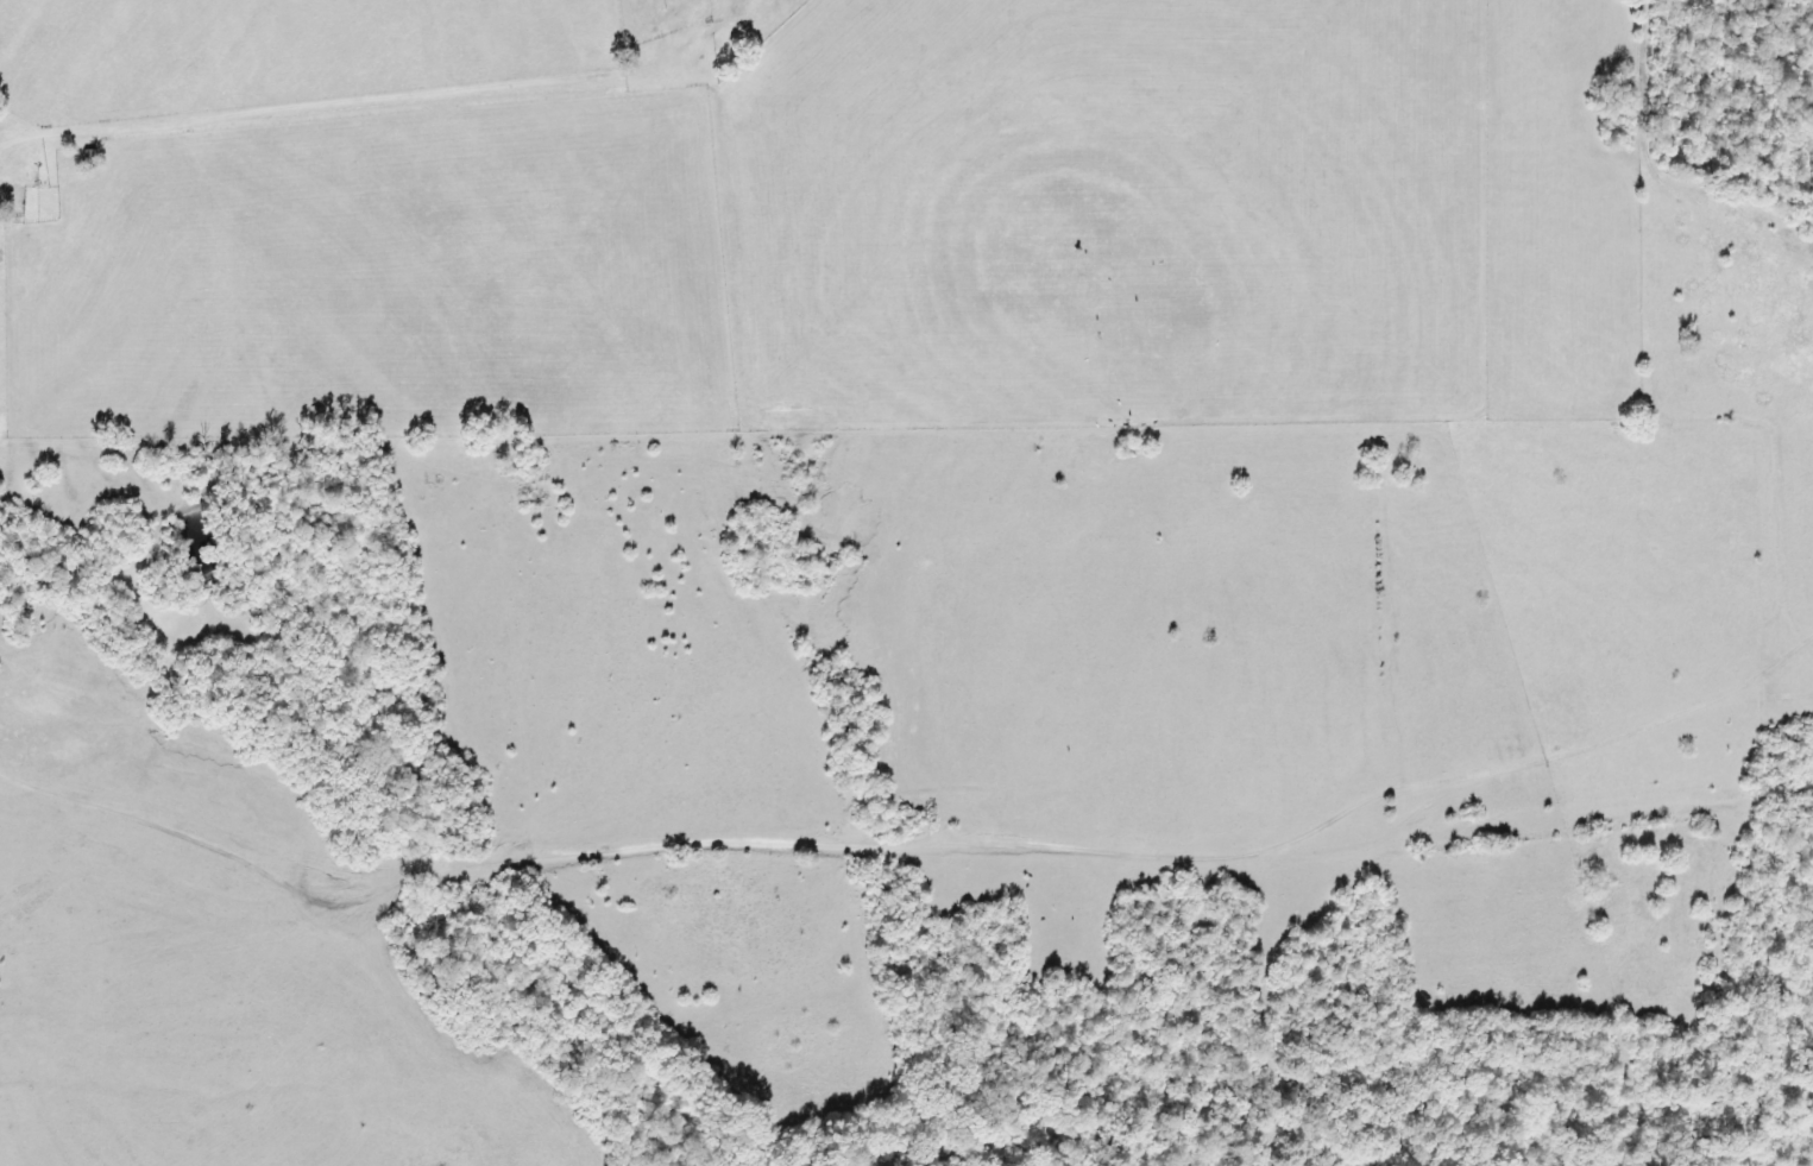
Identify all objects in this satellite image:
road: (17, 144)
building: (10, 203)
road: (1599, 739)
road: (896, 843)

